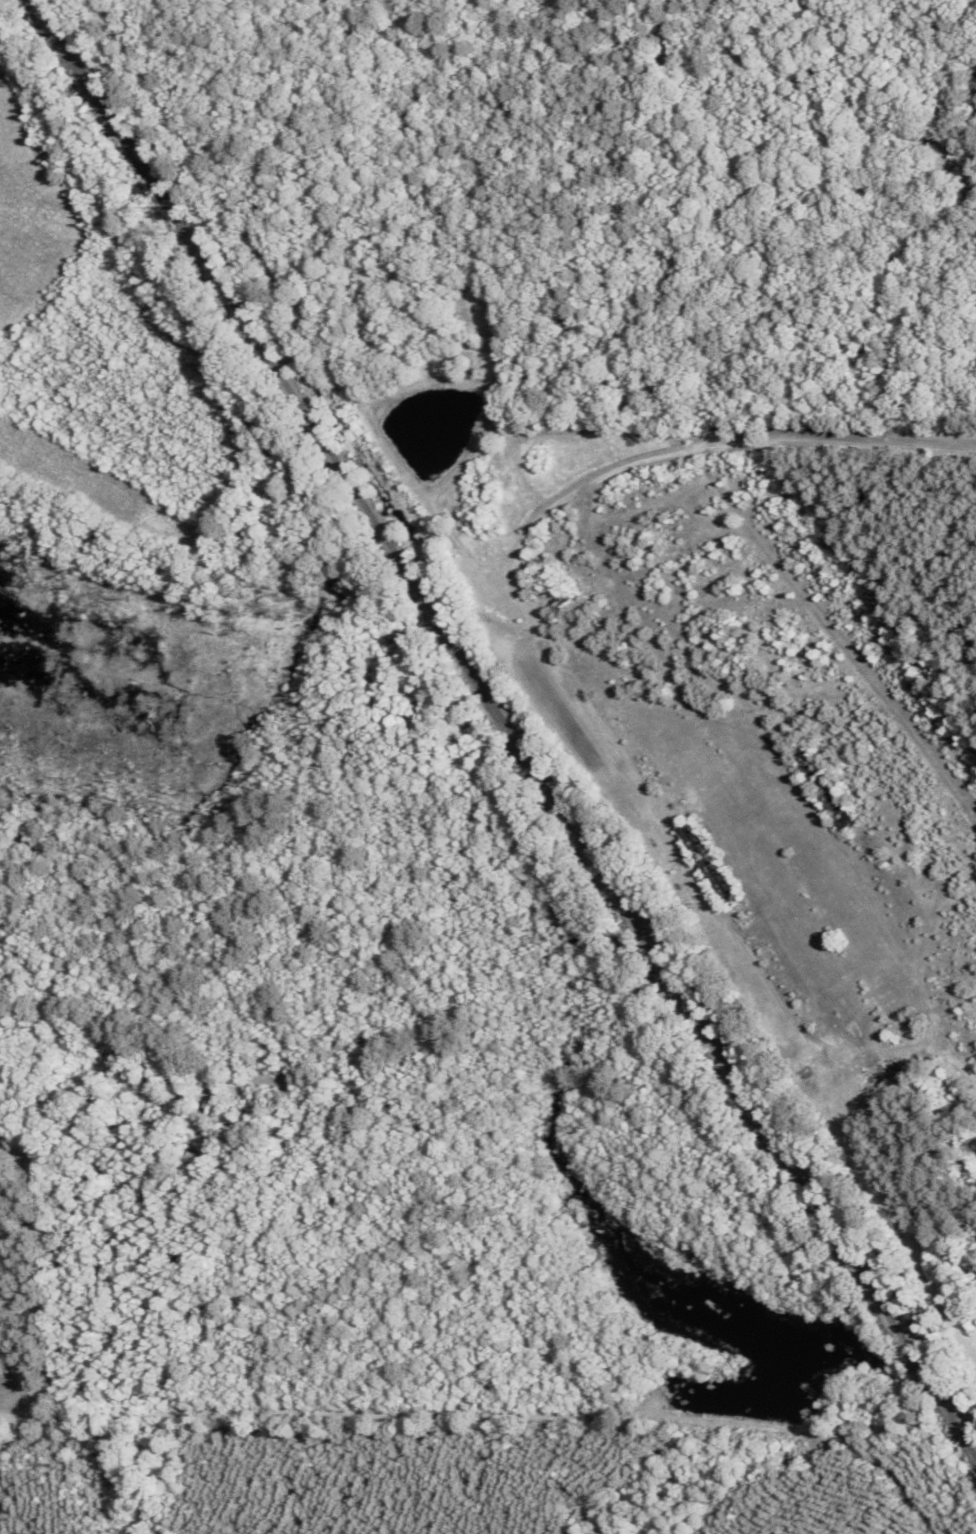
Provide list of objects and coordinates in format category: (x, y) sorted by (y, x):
road: (771, 484)
railway: (504, 721)
building: (826, 788)
building: (711, 863)

